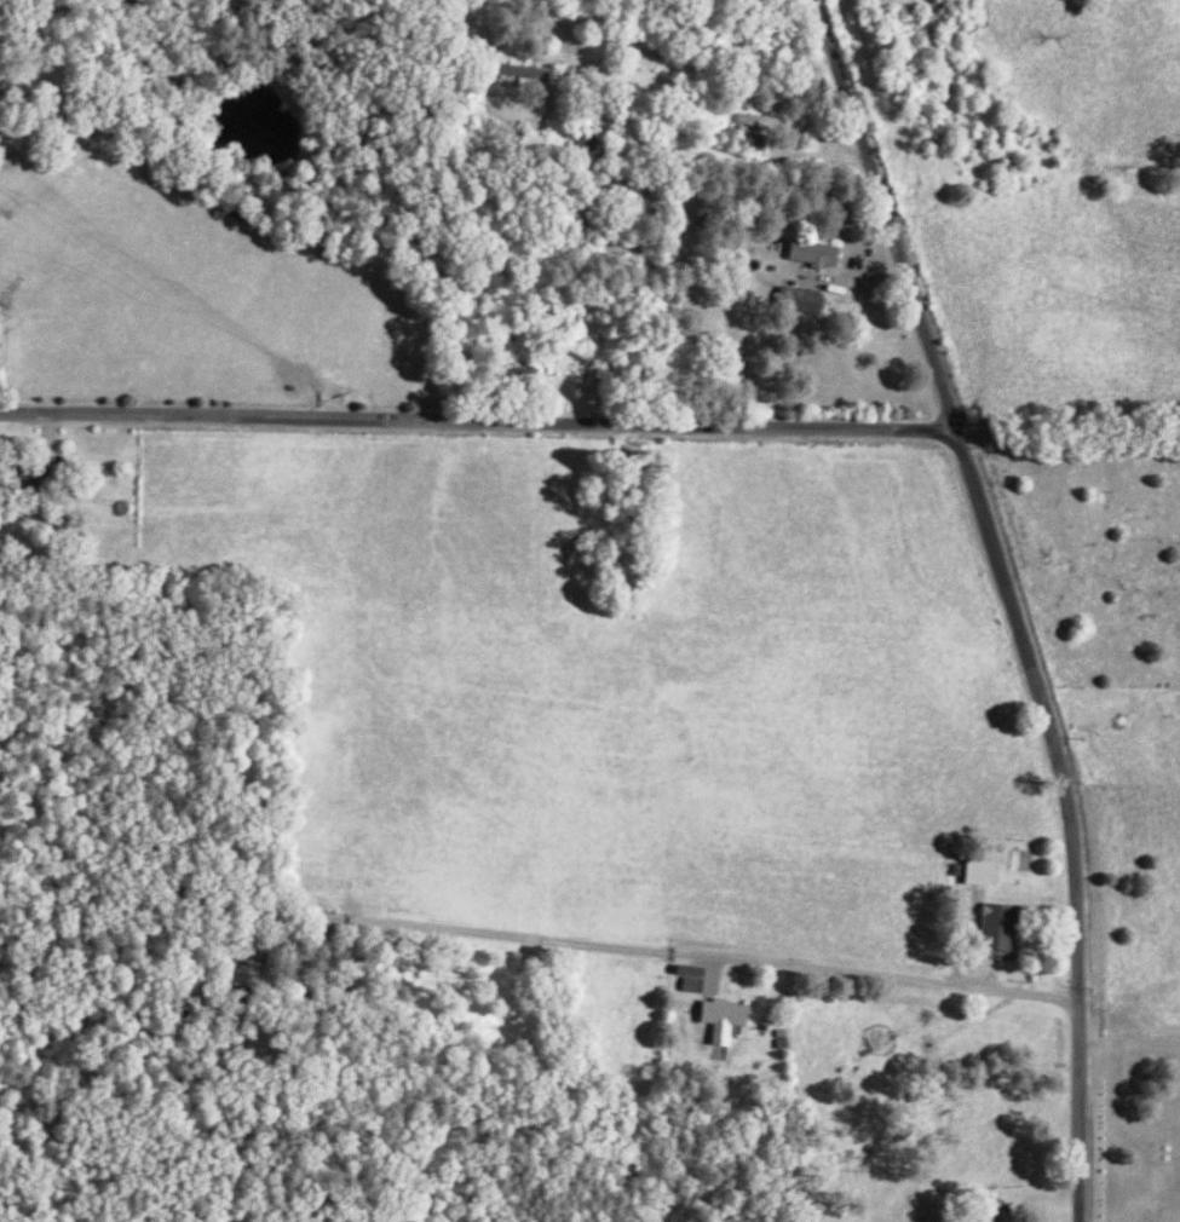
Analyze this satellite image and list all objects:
road: (698, 45)
building: (775, 121)
building: (825, 253)
building: (812, 300)
road: (477, 420)
road: (1066, 436)
road: (977, 495)
building: (985, 871)
building: (1001, 926)
road: (698, 951)
building: (693, 976)
building: (726, 1016)
road: (1077, 1113)

